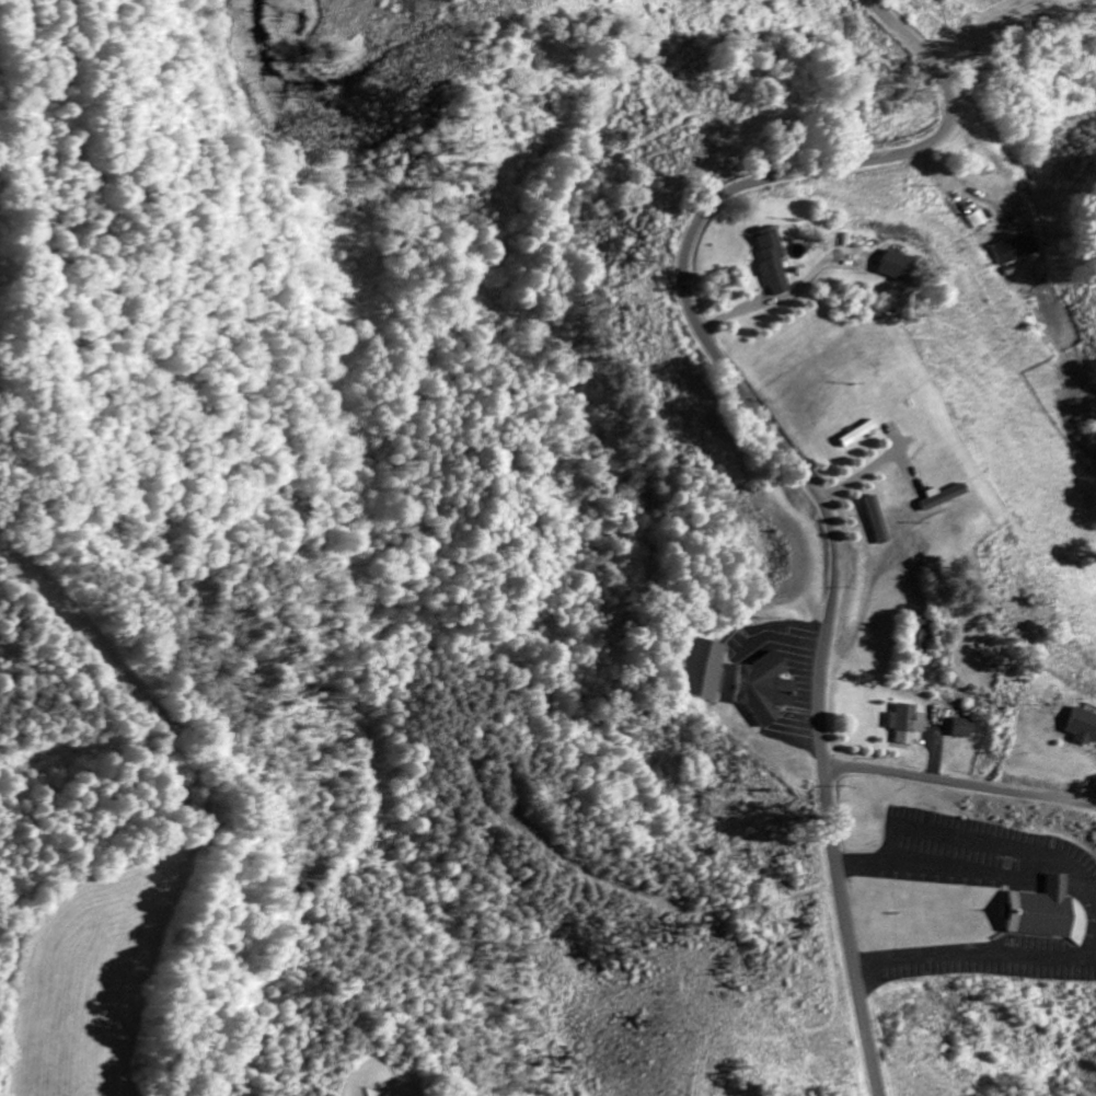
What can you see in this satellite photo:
building: (1019, 251)
building: (774, 264)
building: (901, 268)
road: (772, 438)
building: (946, 497)
building: (877, 521)
building: (697, 670)
building: (762, 690)
building: (905, 725)
building: (1082, 728)
building: (964, 729)
road: (143, 745)
road: (957, 783)
building: (1038, 911)

